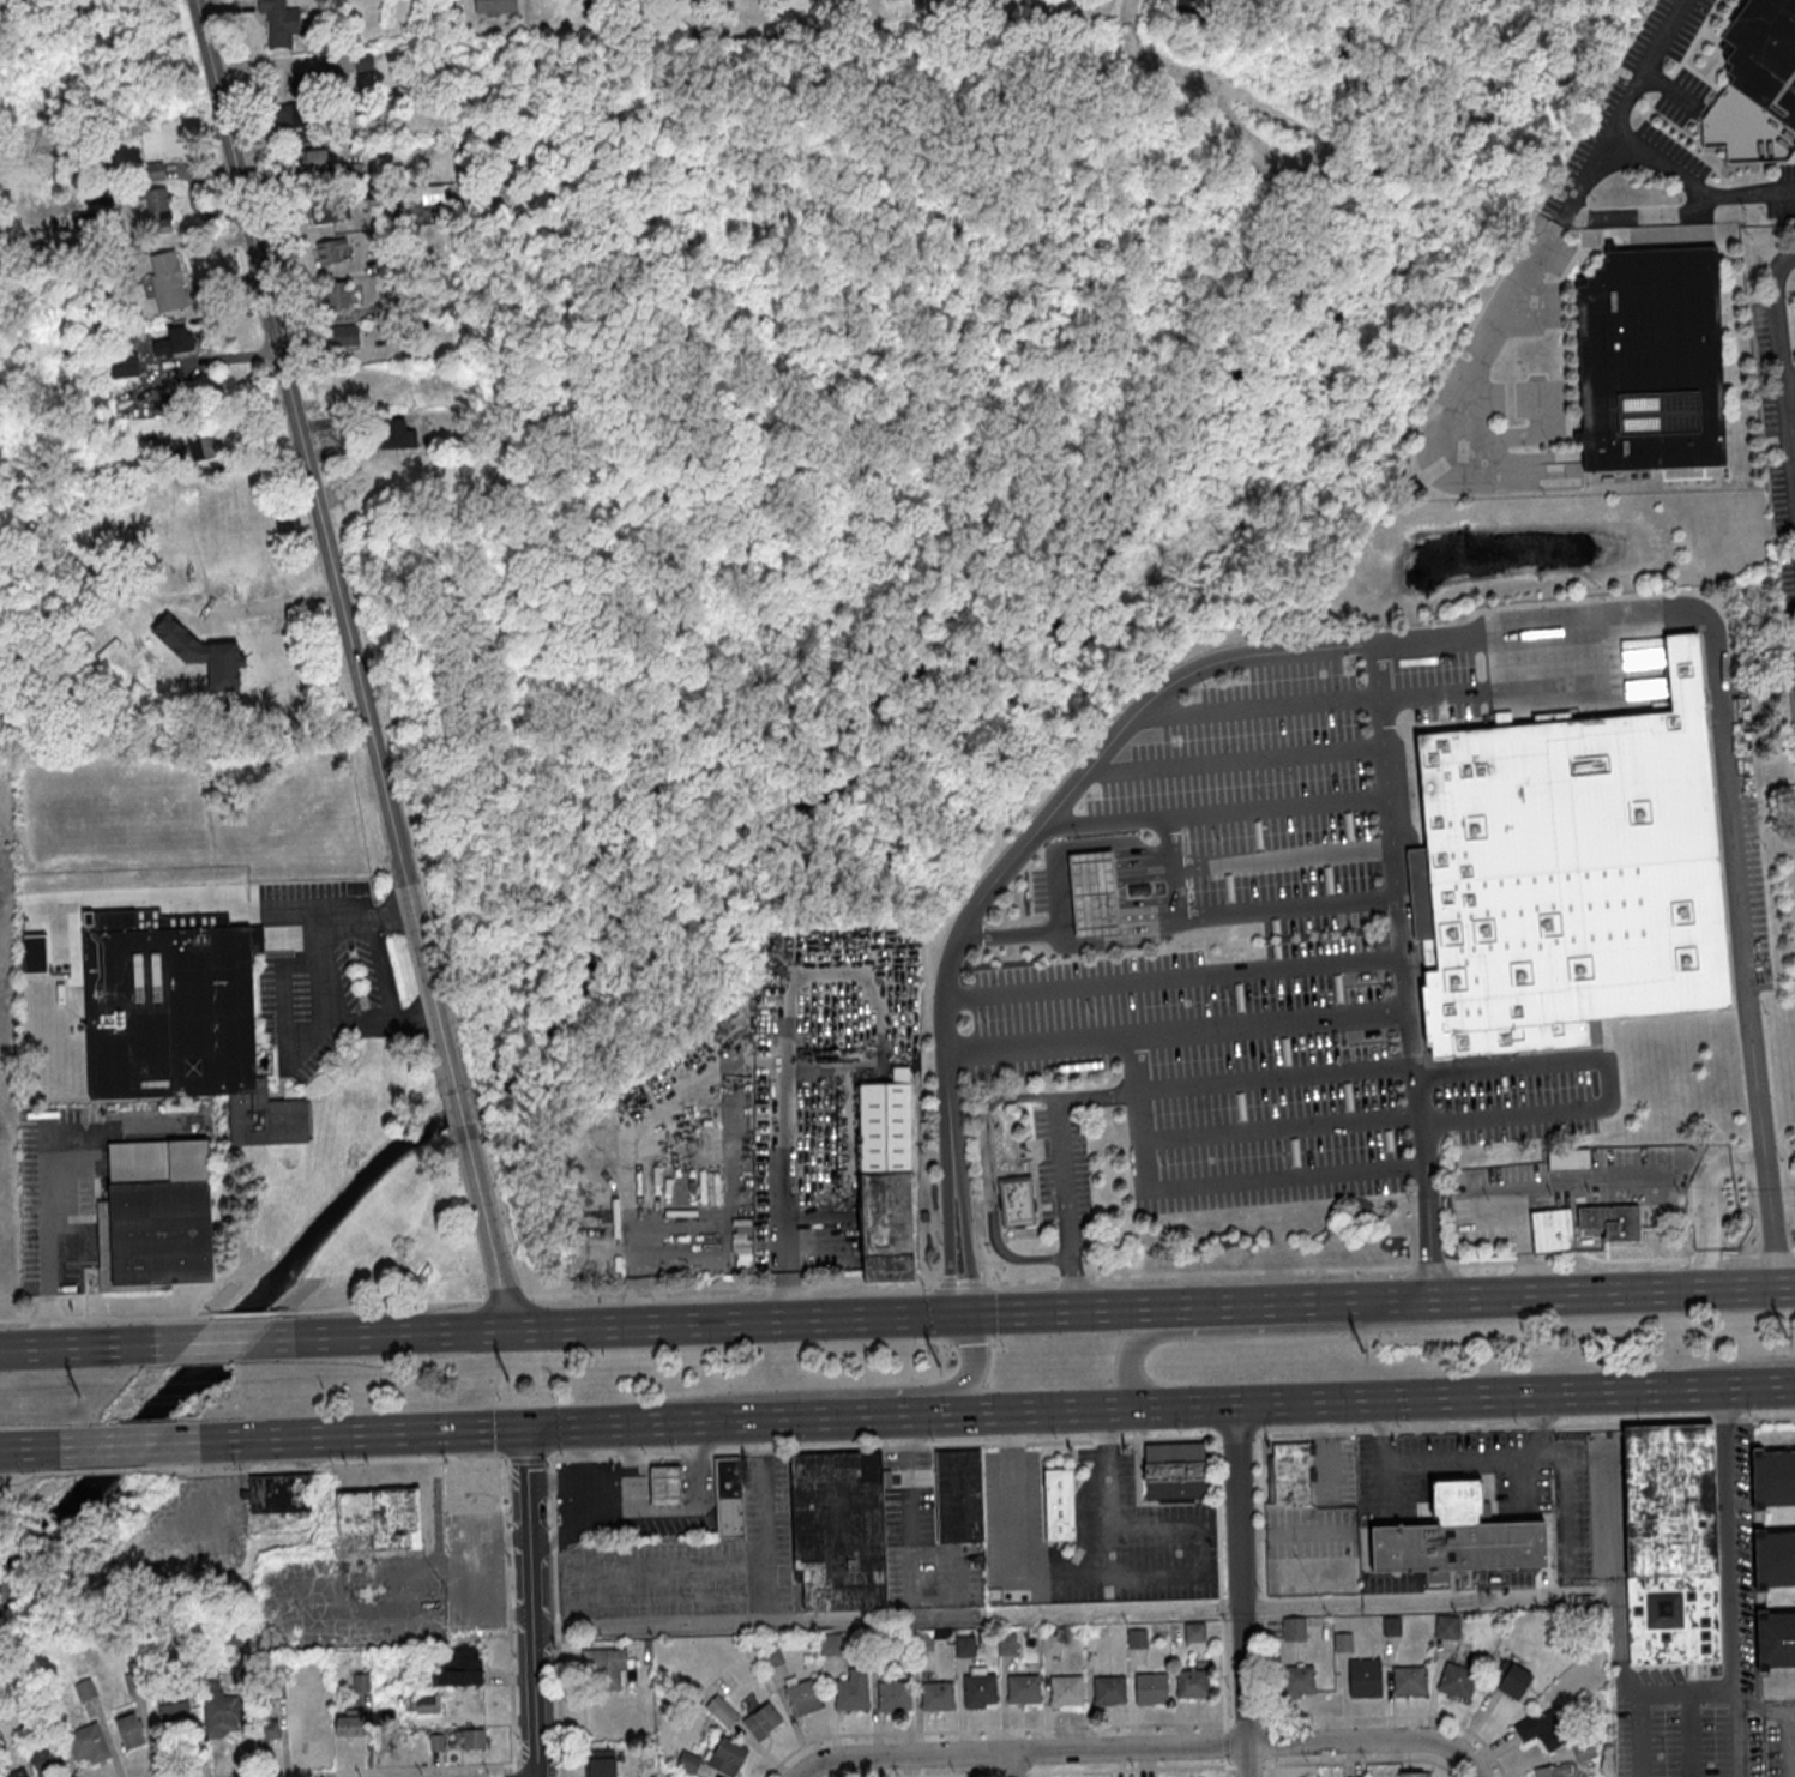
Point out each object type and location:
building: (495, 6)
building: (281, 22)
building: (1765, 54)
building: (299, 103)
road: (1695, 106)
road: (1655, 159)
building: (313, 161)
building: (153, 170)
building: (354, 173)
building: (163, 209)
building: (331, 210)
building: (331, 249)
building: (168, 281)
building: (337, 294)
building: (343, 336)
building: (175, 341)
building: (1651, 360)
building: (125, 365)
road: (1783, 367)
road: (1789, 374)
building: (397, 433)
road: (1793, 440)
road: (337, 495)
road: (326, 547)
road: (1451, 637)
building: (213, 664)
road: (1215, 809)
river: (777, 815)
road: (1071, 849)
road: (1281, 861)
building: (1566, 874)
road: (988, 886)
building: (1139, 890)
building: (1090, 893)
gas station: (1090, 893)
road: (175, 897)
road: (1233, 914)
road: (1064, 942)
road: (1745, 951)
building: (35, 953)
road: (1405, 970)
road: (1175, 972)
road: (317, 978)
building: (175, 1017)
road: (1271, 1020)
road: (784, 1029)
road: (1608, 1078)
road: (459, 1108)
road: (1143, 1158)
building: (1568, 1158)
road: (1059, 1164)
road: (987, 1174)
building: (884, 1179)
road: (1559, 1181)
road: (952, 1182)
road: (1704, 1199)
building: (1019, 1204)
building: (152, 1215)
building: (1612, 1219)
road: (486, 1225)
building: (1550, 1230)
road: (52, 1254)
road: (1550, 1294)
road: (1224, 1305)
traffic signals: (971, 1313)
traffic signals: (947, 1314)
road: (697, 1323)
power tower: (1787, 1335)
road: (219, 1339)
road: (92, 1344)
power tower: (1363, 1349)
power tower: (939, 1363)
road: (1125, 1365)
road: (970, 1366)
road: (1761, 1367)
power tower: (510, 1377)
road: (1734, 1386)
power tower: (82, 1393)
road: (1418, 1397)
road: (1146, 1405)
road: (1037, 1410)
road: (837, 1416)
road: (671, 1421)
road: (1522, 1424)
road: (1537, 1426)
traffic signals: (523, 1428)
road: (387, 1433)
road: (1235, 1434)
road: (126, 1442)
road: (46, 1445)
road: (880, 1445)
road: (1318, 1450)
road: (524, 1458)
road: (1383, 1459)
road: (320, 1462)
road: (1475, 1462)
road: (102, 1469)
building: (1171, 1470)
road: (32, 1471)
building: (1288, 1472)
building: (1772, 1478)
road: (579, 1481)
road: (624, 1481)
building: (470, 1487)
building: (663, 1487)
road: (1562, 1490)
building: (275, 1493)
building: (956, 1495)
building: (725, 1496)
building: (1056, 1505)
road: (905, 1506)
road: (661, 1507)
building: (378, 1514)
road: (573, 1518)
road: (760, 1522)
building: (836, 1530)
road: (1295, 1531)
parking lot: (1090, 1534)
building: (1453, 1538)
building: (1667, 1543)
road: (1200, 1547)
road: (956, 1552)
building: (1773, 1560)
road: (1060, 1572)
road: (1260, 1582)
road: (1217, 1583)
building: (1285, 1588)
road: (1239, 1590)
road: (1484, 1597)
road: (530, 1602)
road: (1300, 1603)
road: (506, 1615)
road: (554, 1616)
road: (885, 1618)
building: (1389, 1626)
building: (1445, 1626)
building: (1291, 1628)
building: (1192, 1632)
building: (1133, 1638)
building: (802, 1640)
building: (918, 1640)
building: (1775, 1640)
building: (878, 1642)
building: (1339, 1642)
building: (236, 1643)
building: (827, 1643)
building: (1002, 1644)
building: (1047, 1644)
building: (962, 1645)
road: (1731, 1649)
building: (770, 1656)
building: (601, 1667)
building: (454, 1668)
building: (1362, 1679)
building: (1507, 1679)
building: (1295, 1680)
building: (1405, 1680)
building: (1453, 1680)
building: (131, 1681)
building: (357, 1681)
building: (1189, 1683)
building: (273, 1688)
building: (1148, 1688)
building: (82, 1689)
building: (849, 1689)
building: (976, 1689)
building: (1019, 1689)
building: (1107, 1689)
building: (1064, 1691)
building: (890, 1695)
building: (934, 1695)
building: (801, 1697)
building: (422, 1704)
building: (219, 1710)
building: (718, 1710)
road: (1759, 1710)
building: (171, 1713)
road: (1392, 1715)
building: (43, 1716)
building: (383, 1718)
building: (759, 1721)
road: (1243, 1721)
building: (345, 1723)
building: (263, 1727)
road: (990, 1729)
building: (127, 1730)
building: (1541, 1730)
road: (1735, 1734)
road: (1626, 1735)
building: (468, 1737)
building: (1594, 1739)
building: (433, 1741)
road: (1787, 1741)
building: (84, 1742)
road: (1267, 1742)
road: (555, 1743)
road: (1223, 1743)
road: (534, 1745)
road: (514, 1746)
road: (1130, 1746)
building: (1582, 1751)
building: (724, 1757)
building: (42, 1759)
road: (1359, 1759)
building: (686, 1761)
building: (597, 1763)
road: (1012, 1764)
road: (1247, 1765)
road: (1471, 1765)
road: (1225, 1766)
road: (1269, 1766)
road: (1128, 1767)
road: (350, 1769)
building: (1552, 1770)
road: (1011, 1772)
building: (14, 1773)
road: (512, 1773)
road: (918, 1773)
road: (1034, 1773)
building: (1414, 1773)
road: (989, 1775)
building: (650, 1776)

